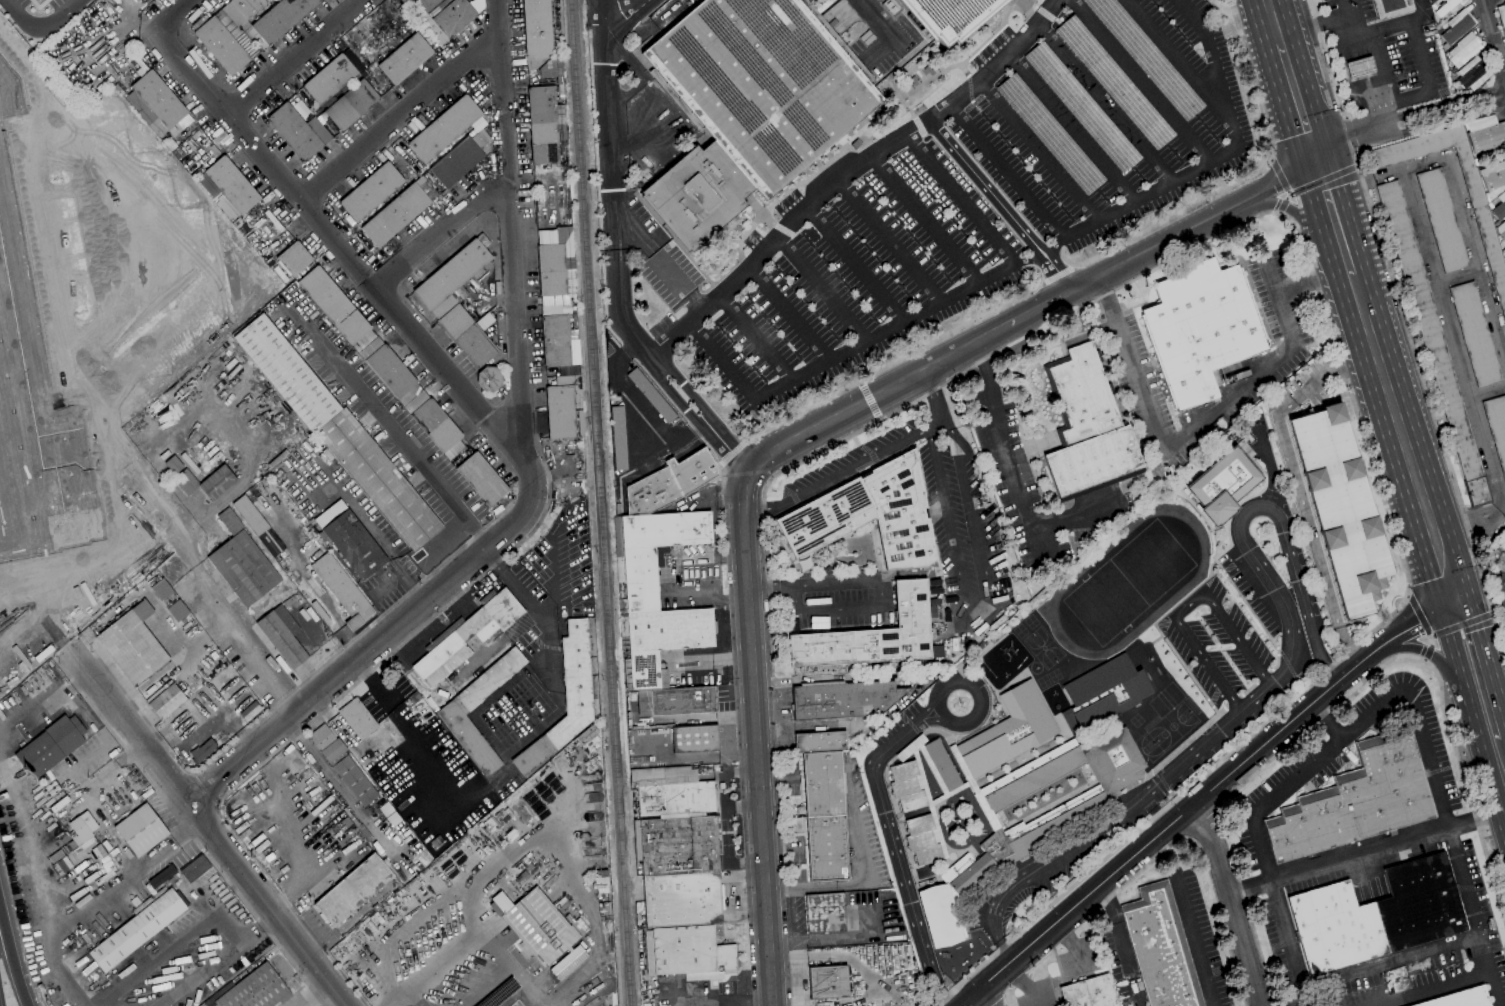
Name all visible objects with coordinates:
building: (428, 5)
building: (249, 7)
building: (1449, 7)
building: (1392, 8)
parking lot: (1347, 13)
road: (177, 15)
building: (949, 16)
building: (1502, 16)
building: (282, 18)
road: (1278, 18)
road: (875, 19)
building: (451, 20)
road: (1397, 23)
road: (1327, 24)
building: (1457, 27)
road: (42, 28)
parking lot: (872, 31)
road: (1355, 39)
building: (541, 40)
road: (889, 40)
road: (1493, 42)
building: (222, 46)
road: (618, 46)
road: (1211, 49)
building: (1465, 49)
building: (1148, 56)
road: (294, 57)
building: (406, 58)
road: (1327, 61)
parking lot: (1410, 65)
building: (1360, 66)
gas station: (1360, 66)
road: (1383, 66)
road: (1362, 67)
building: (1473, 74)
building: (330, 80)
road: (1140, 81)
building: (1114, 84)
road: (1426, 84)
road: (1302, 96)
road: (1372, 101)
road: (1105, 102)
building: (156, 103)
building: (352, 105)
building: (750, 105)
building: (1080, 108)
building: (302, 110)
road: (403, 117)
road: (1347, 118)
road: (1410, 120)
building: (545, 127)
road: (1071, 127)
building: (445, 129)
building: (295, 132)
building: (1050, 134)
building: (1486, 134)
road: (1351, 135)
road: (1039, 150)
road: (1357, 151)
traffic signals: (1321, 156)
building: (462, 158)
road: (1008, 170)
road: (850, 173)
building: (1494, 176)
road: (1280, 177)
road: (1324, 180)
building: (232, 185)
road: (1352, 186)
building: (372, 191)
parking lot: (963, 195)
road: (963, 199)
road: (1282, 203)
road: (1001, 204)
building: (1500, 207)
road: (1290, 210)
building: (400, 211)
road: (1338, 215)
road: (1466, 218)
building: (1483, 219)
building: (1442, 220)
road: (927, 221)
road: (1243, 223)
road: (1197, 225)
road: (1077, 230)
road: (515, 231)
building: (1501, 231)
road: (447, 239)
road: (893, 241)
building: (1504, 250)
building: (295, 258)
road: (615, 259)
building: (556, 262)
road: (857, 263)
road: (357, 266)
road: (1076, 268)
road: (1273, 273)
road: (92, 274)
building: (454, 274)
road: (684, 285)
road: (822, 287)
road: (1041, 307)
building: (337, 308)
road: (788, 312)
building: (1202, 328)
building: (1476, 334)
building: (468, 335)
road: (755, 336)
road: (1452, 336)
building: (560, 341)
building: (1435, 343)
road: (722, 357)
building: (568, 370)
building: (391, 371)
building: (490, 379)
building: (36, 389)
building: (652, 395)
road: (878, 395)
road: (1429, 398)
road: (870, 400)
road: (937, 407)
building: (561, 412)
road: (1210, 415)
building: (581, 423)
building: (436, 425)
building: (1497, 425)
building: (1088, 428)
road: (391, 430)
building: (339, 432)
road: (1403, 432)
building: (619, 438)
road: (1263, 448)
building: (190, 463)
building: (174, 465)
road: (1015, 468)
road: (834, 478)
building: (483, 480)
building: (207, 482)
building: (670, 483)
road: (1296, 483)
building: (1223, 485)
railway: (598, 503)
building: (1342, 508)
building: (869, 515)
building: (251, 516)
building: (231, 521)
building: (350, 540)
road: (1036, 545)
road: (1475, 546)
building: (652, 552)
building: (244, 568)
parking lot: (1305, 571)
road: (56, 579)
road: (675, 579)
track: (1194, 581)
park: (1128, 582)
road: (771, 585)
building: (160, 589)
road: (87, 590)
building: (343, 590)
traffic signals: (1450, 590)
building: (1501, 590)
road: (518, 591)
building: (10, 593)
road: (1238, 593)
parking lot: (1248, 595)
road: (983, 602)
road: (878, 604)
road: (1188, 604)
building: (177, 610)
road: (1418, 615)
road: (224, 621)
park: (1030, 621)
road: (1461, 623)
park: (1019, 630)
road: (1159, 631)
building: (468, 633)
building: (283, 635)
building: (873, 636)
building: (662, 640)
parking lot: (1216, 642)
road: (400, 645)
park: (1042, 647)
road: (1424, 647)
building: (133, 648)
road: (1424, 651)
road: (362, 657)
road: (717, 658)
road: (1473, 667)
park: (1054, 675)
road: (1264, 676)
road: (951, 680)
park: (1043, 681)
road: (1268, 686)
road: (1248, 689)
road: (294, 690)
building: (1102, 695)
road: (1344, 697)
park: (1165, 699)
building: (567, 700)
building: (846, 700)
building: (167, 701)
building: (676, 701)
road: (1232, 702)
building: (460, 706)
road: (927, 708)
building: (358, 719)
road: (103, 720)
park: (1135, 720)
road: (1328, 720)
road: (934, 721)
road: (1419, 722)
building: (428, 723)
parking lot: (896, 723)
park: (1172, 726)
road: (407, 729)
building: (393, 730)
road: (937, 730)
building: (1010, 731)
road: (755, 737)
road: (1500, 737)
building: (695, 738)
parking lot: (1225, 740)
building: (821, 742)
building: (51, 746)
road: (910, 747)
park: (1148, 747)
building: (203, 750)
road: (1171, 753)
road: (1501, 756)
building: (343, 764)
building: (421, 765)
building: (943, 765)
road: (931, 768)
road: (1026, 768)
road: (1164, 785)
building: (907, 787)
road: (973, 787)
building: (672, 791)
road: (949, 793)
building: (1006, 795)
road: (1203, 796)
building: (1356, 801)
road: (928, 802)
road: (198, 814)
building: (825, 816)
road: (896, 816)
building: (993, 822)
building: (142, 830)
building: (922, 841)
road: (573, 842)
building: (678, 845)
road: (1365, 854)
road: (896, 856)
road: (1201, 857)
building: (195, 868)
building: (967, 872)
road: (937, 875)
building: (353, 890)
building: (681, 899)
road: (1229, 903)
road: (96, 904)
road: (245, 904)
building: (826, 913)
building: (940, 915)
building: (1377, 915)
road: (398, 926)
building: (540, 927)
building: (138, 928)
road: (1193, 939)
road: (1290, 943)
road: (1122, 944)
building: (1161, 948)
building: (688, 953)
road: (12, 955)
road: (217, 959)
building: (567, 962)
road: (1393, 963)
road: (429, 967)
road: (507, 967)
building: (829, 982)
road: (487, 988)
road: (1437, 989)
building: (254, 990)
building: (1090, 992)
road: (313, 993)
road: (988, 995)
building: (1462, 999)
road: (395, 1002)

